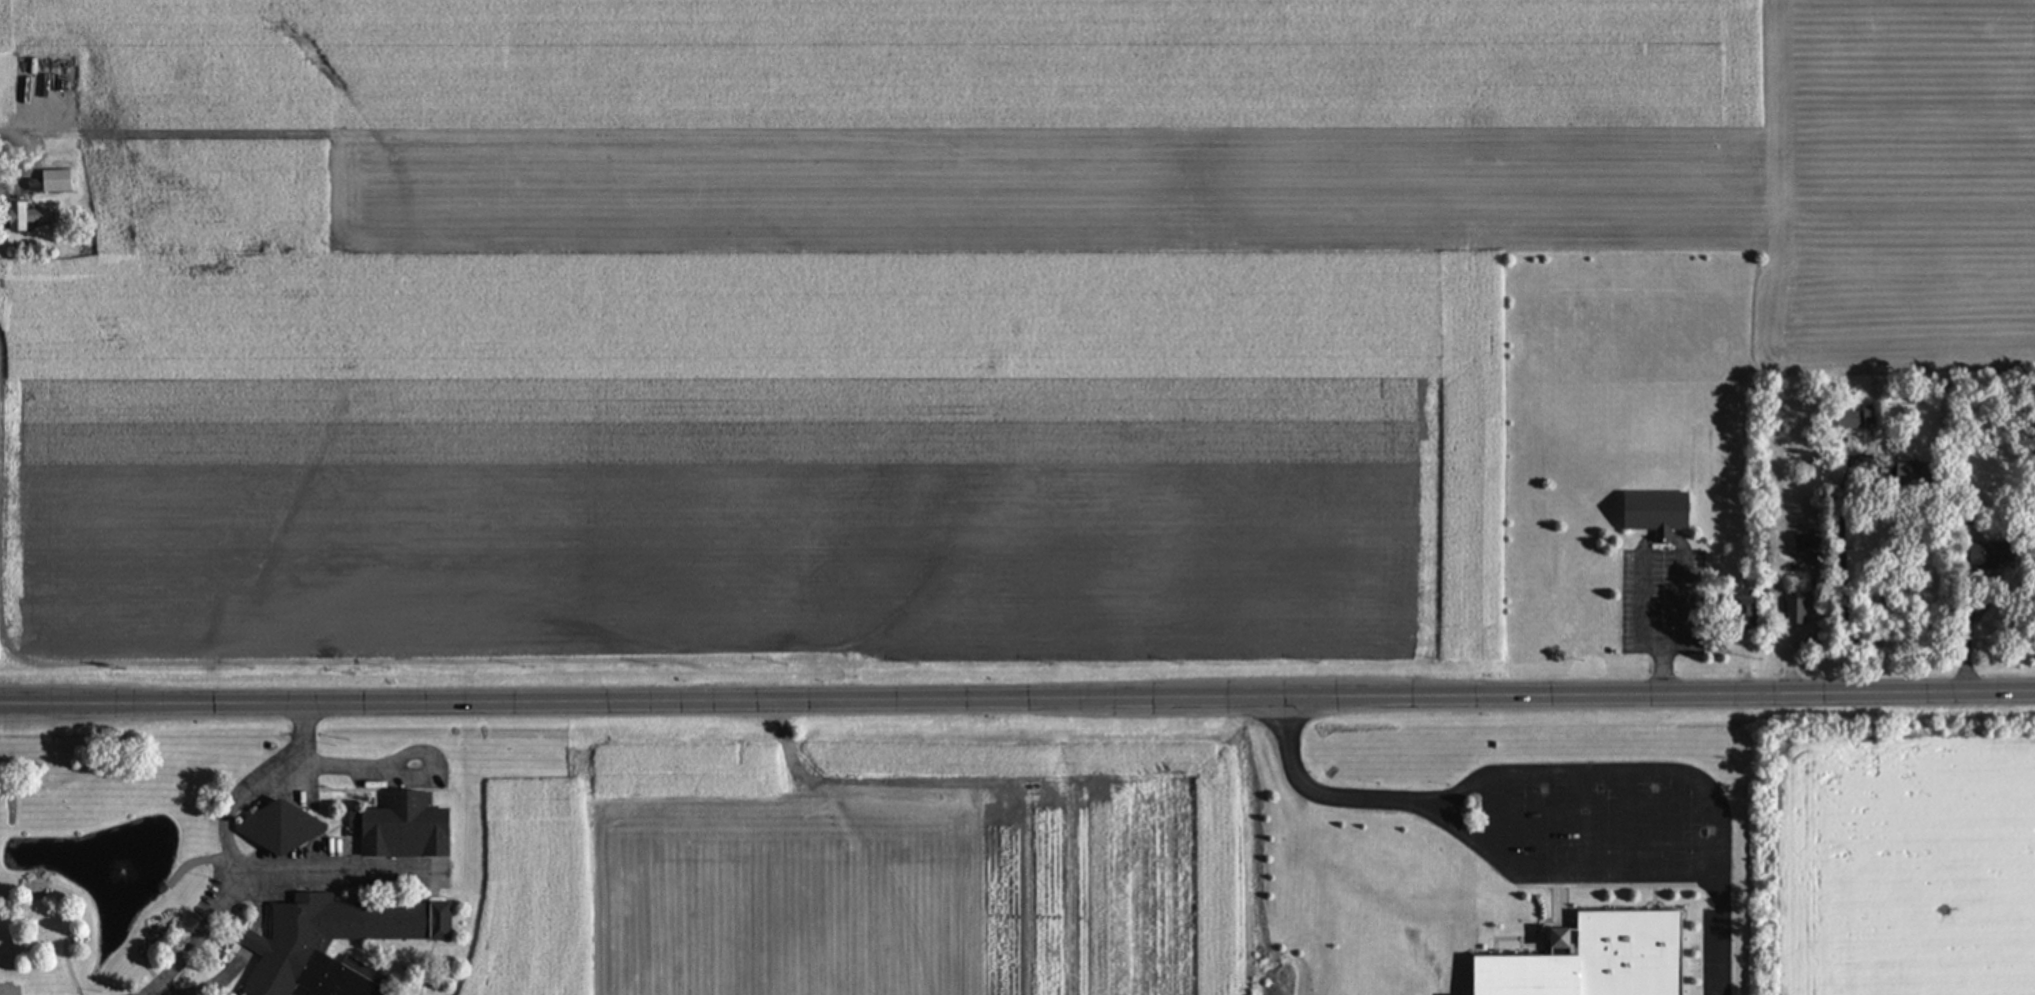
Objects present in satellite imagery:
building: (38, 83)
road: (26, 130)
building: (33, 217)
building: (1851, 419)
building: (1902, 472)
building: (1650, 512)
building: (1803, 542)
building: (1973, 554)
road: (1679, 599)
building: (1789, 610)
building: (1734, 611)
road: (1641, 618)
road: (1017, 694)
parking lot: (1606, 816)
road: (1499, 819)
road: (1628, 823)
road: (1668, 823)
road: (1544, 824)
road: (1587, 824)
building: (405, 826)
building: (282, 828)
road: (229, 845)
road: (331, 869)
road: (1639, 875)
road: (1719, 935)
building: (290, 946)
building: (1589, 960)

